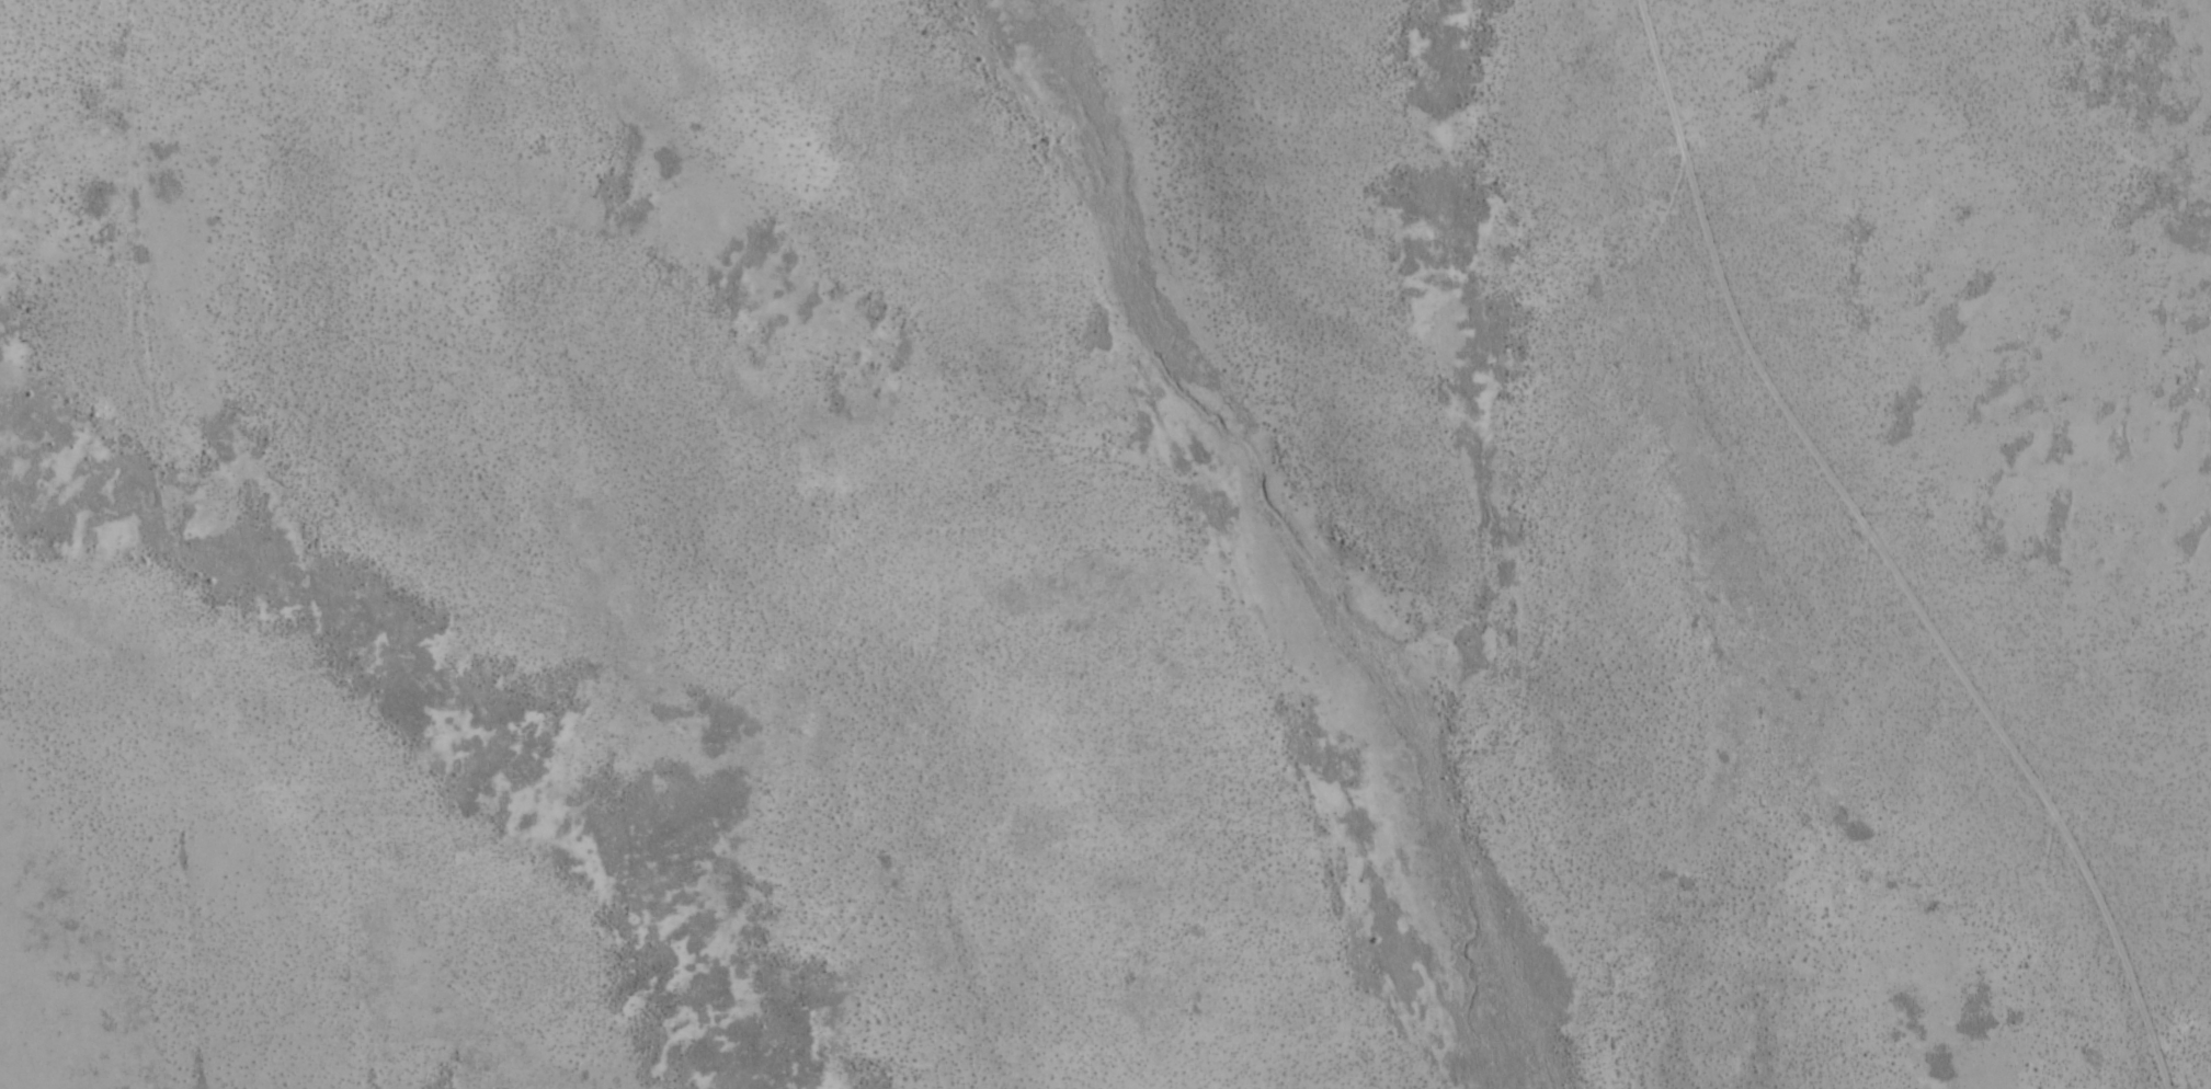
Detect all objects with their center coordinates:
road: (1912, 539)

